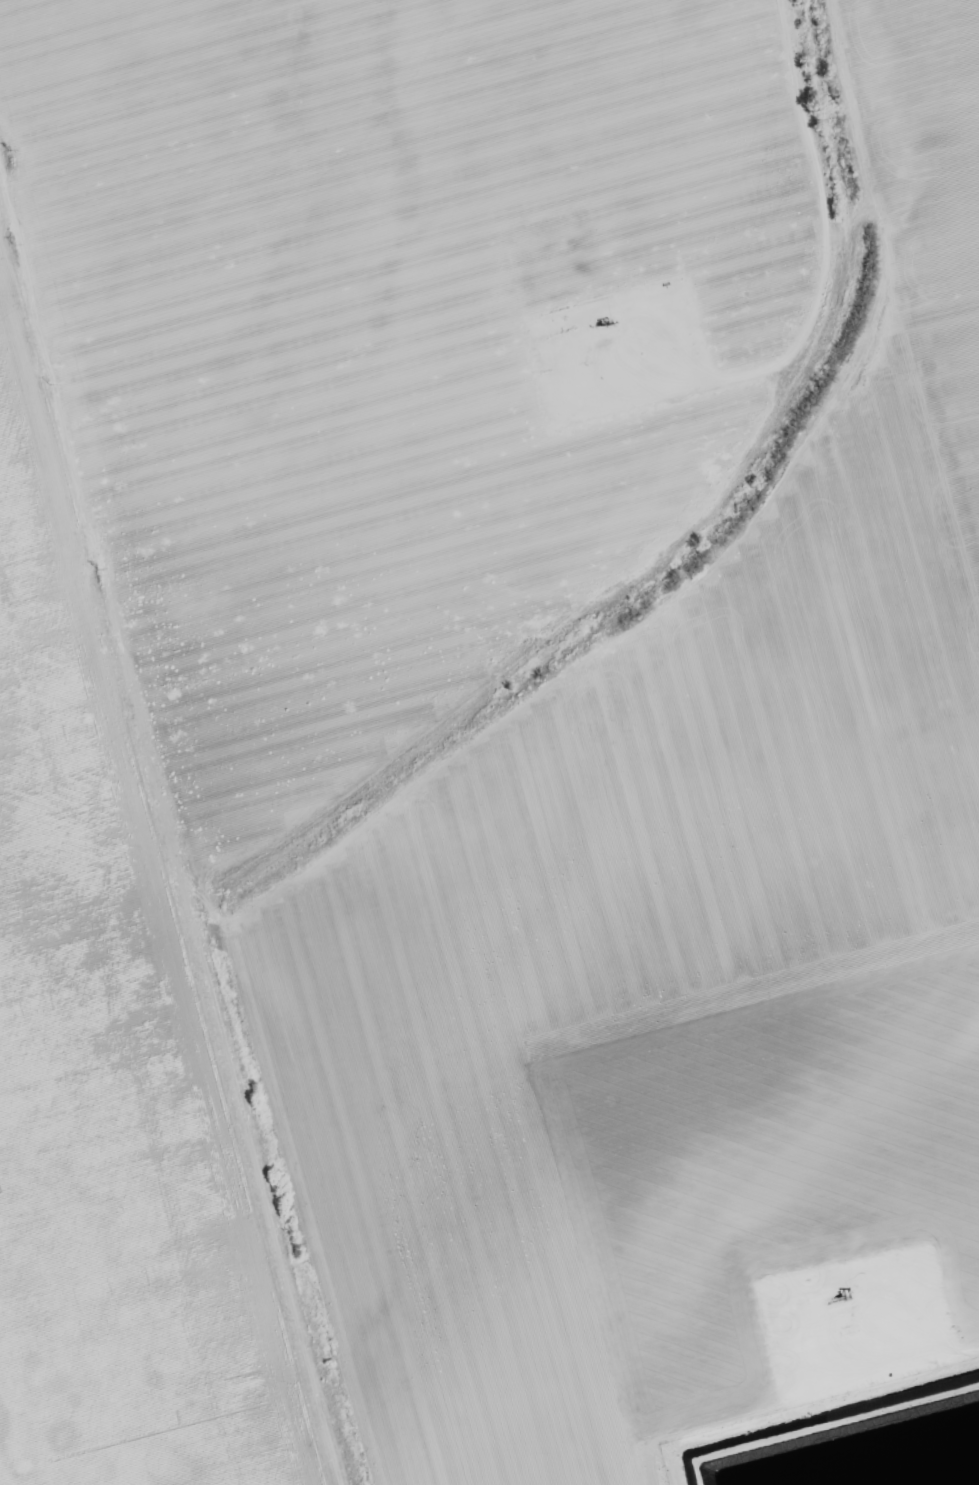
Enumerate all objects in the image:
building: (587, 416)

